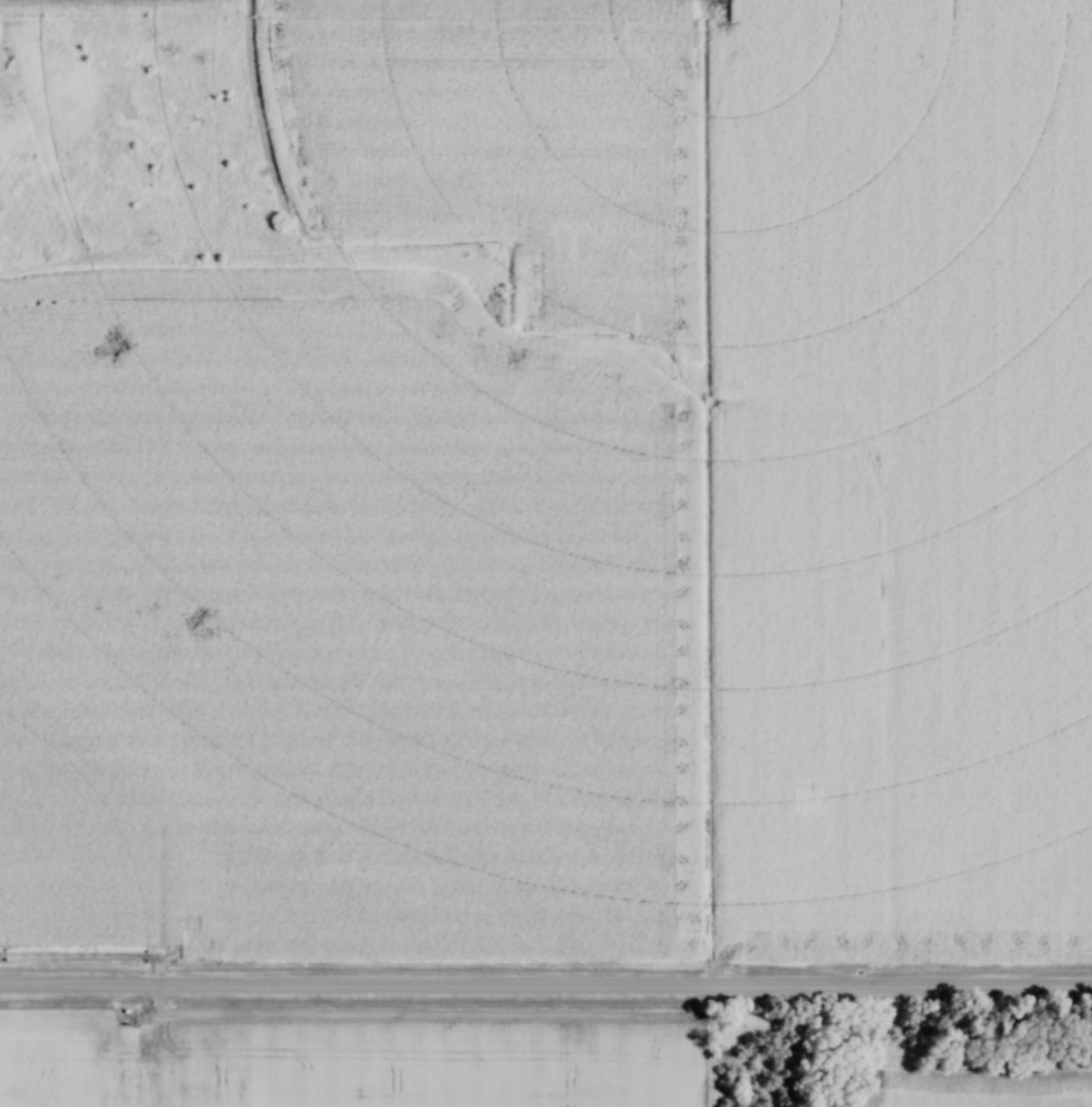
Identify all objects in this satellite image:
crop: (895, 476)
road: (546, 991)

